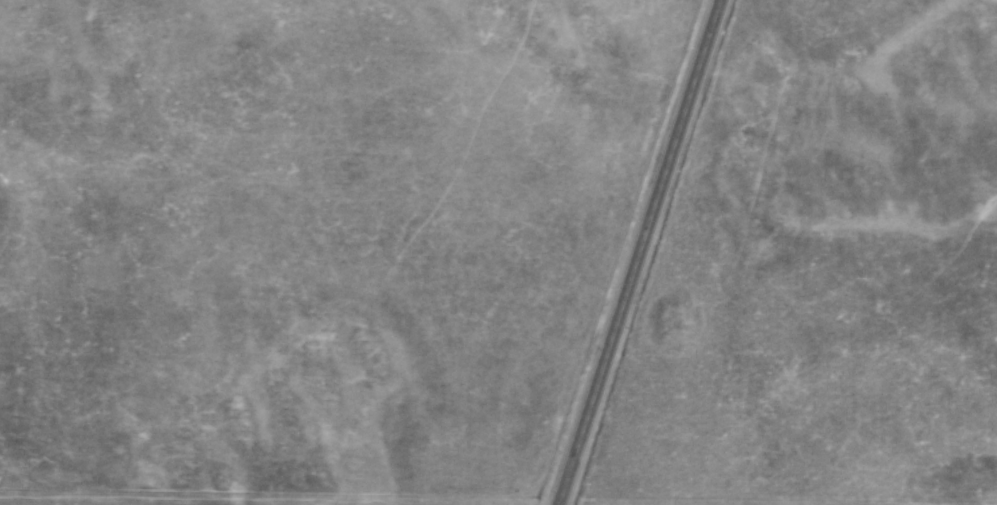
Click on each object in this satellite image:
road: (636, 252)

